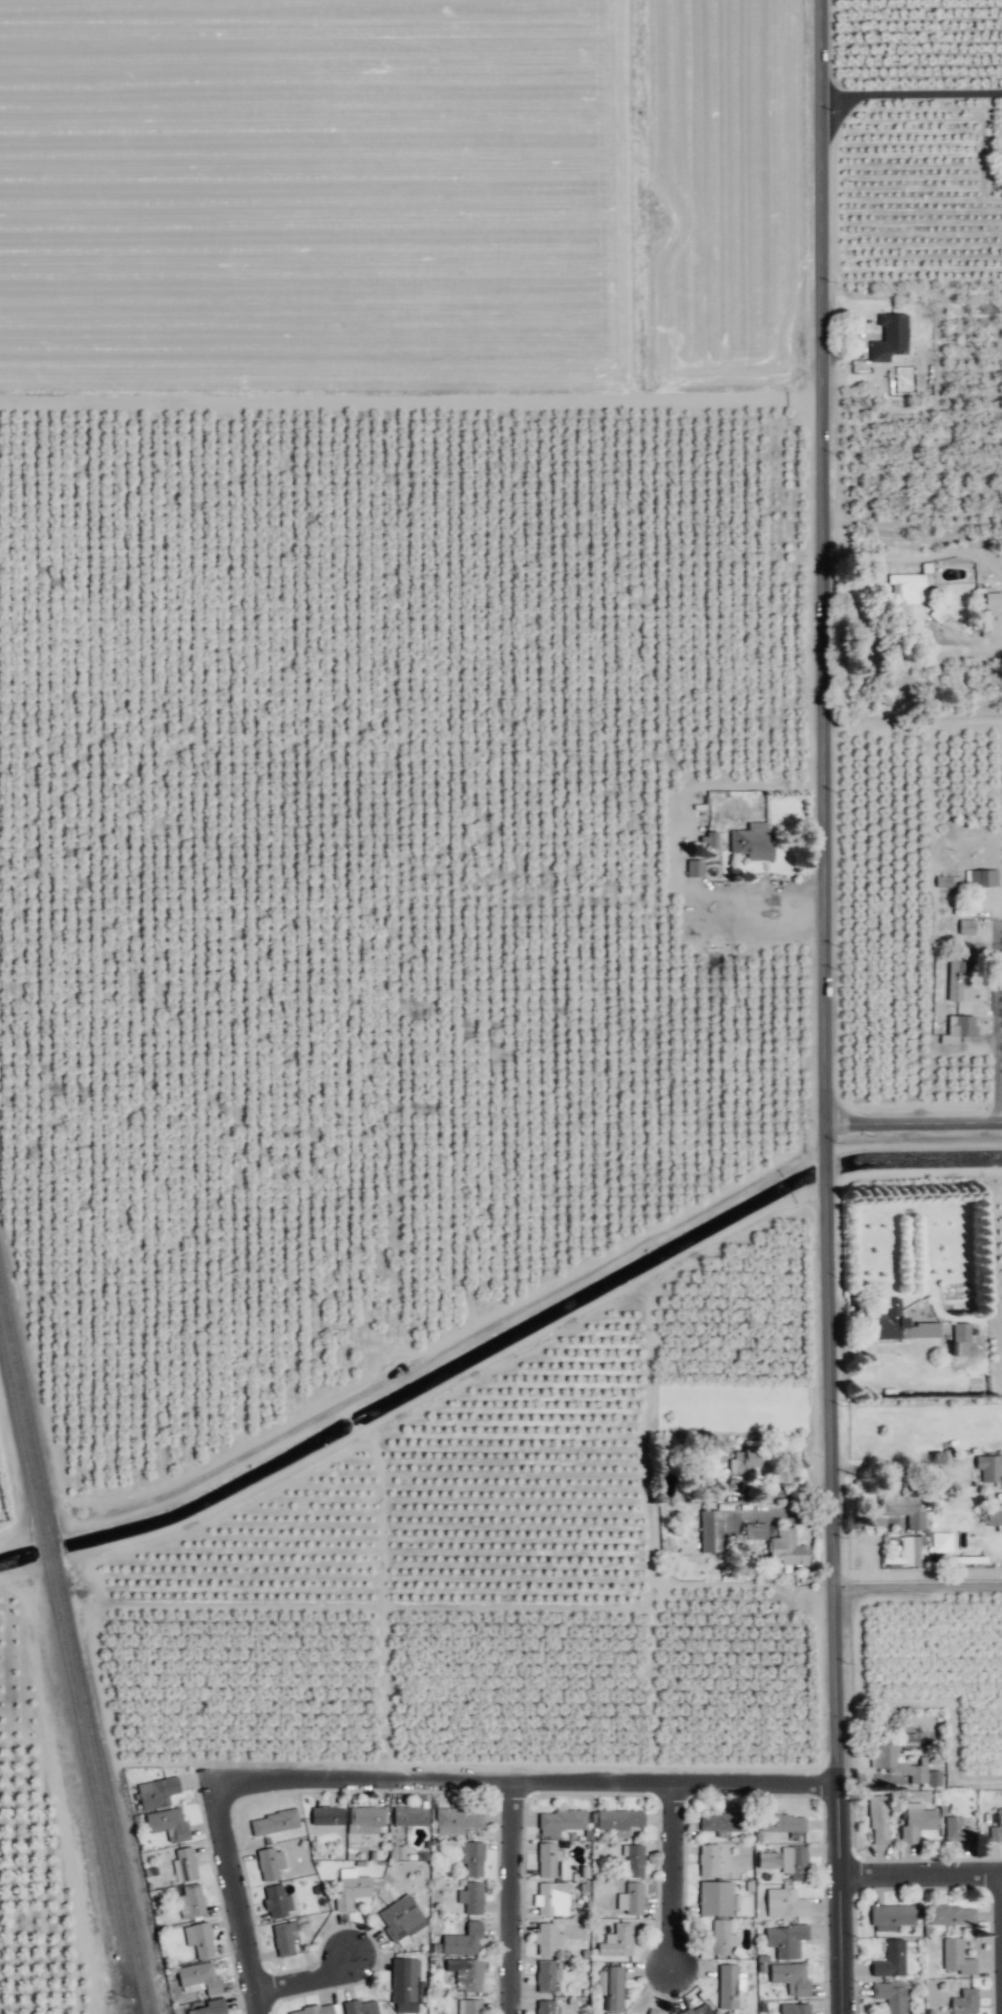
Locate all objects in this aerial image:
road: (911, 93)
building: (890, 337)
road: (916, 556)
building: (993, 598)
road: (1000, 648)
road: (912, 719)
building: (753, 841)
building: (694, 868)
building: (982, 878)
building: (946, 881)
road: (723, 905)
building: (966, 926)
building: (958, 977)
road: (826, 1007)
road: (998, 1011)
building: (958, 1028)
road: (914, 1123)
building: (898, 1323)
building: (961, 1339)
railway: (25, 1413)
railway: (20, 1437)
building: (746, 1459)
building: (989, 1468)
building: (994, 1515)
building: (710, 1531)
building: (941, 1542)
railway: (52, 1546)
railway: (43, 1548)
road: (917, 1585)
building: (888, 1759)
road: (525, 1779)
railway: (92, 1786)
railway: (102, 1786)
building: (157, 1792)
building: (327, 1815)
building: (410, 1816)
building: (365, 1819)
building: (878, 1819)
building: (457, 1820)
building: (619, 1820)
building: (560, 1821)
building: (721, 1821)
building: (916, 1821)
building: (999, 1821)
building: (274, 1822)
building: (781, 1822)
building: (168, 1824)
building: (956, 1829)
building: (471, 1857)
building: (547, 1859)
building: (633, 1860)
building: (707, 1860)
building: (794, 1861)
building: (270, 1863)
building: (184, 1864)
road: (677, 1871)
road: (921, 1872)
building: (350, 1888)
road: (237, 1895)
road: (514, 1896)
building: (471, 1897)
building: (715, 1897)
building: (631, 1898)
building: (551, 1899)
building: (191, 1901)
building: (276, 1901)
building: (784, 1903)
building: (951, 1915)
building: (891, 1916)
building: (401, 1918)
building: (721, 1937)
building: (285, 1938)
building: (546, 1938)
building: (199, 1939)
building: (463, 1940)
building: (785, 1940)
building: (617, 1941)
building: (956, 1957)
building: (893, 1960)
building: (466, 1972)
building: (546, 1976)
building: (199, 1977)
road: (306, 1977)
building: (790, 1977)
building: (406, 1985)
building: (729, 1986)
building: (610, 1987)
building: (890, 1996)
building: (964, 2002)
building: (469, 2006)
building: (546, 2006)
railway: (137, 2007)
building: (210, 2007)
building: (360, 2007)
building: (794, 2008)
building: (317, 2009)
building: (699, 2009)
building: (654, 2011)
building: (625, 2013)

